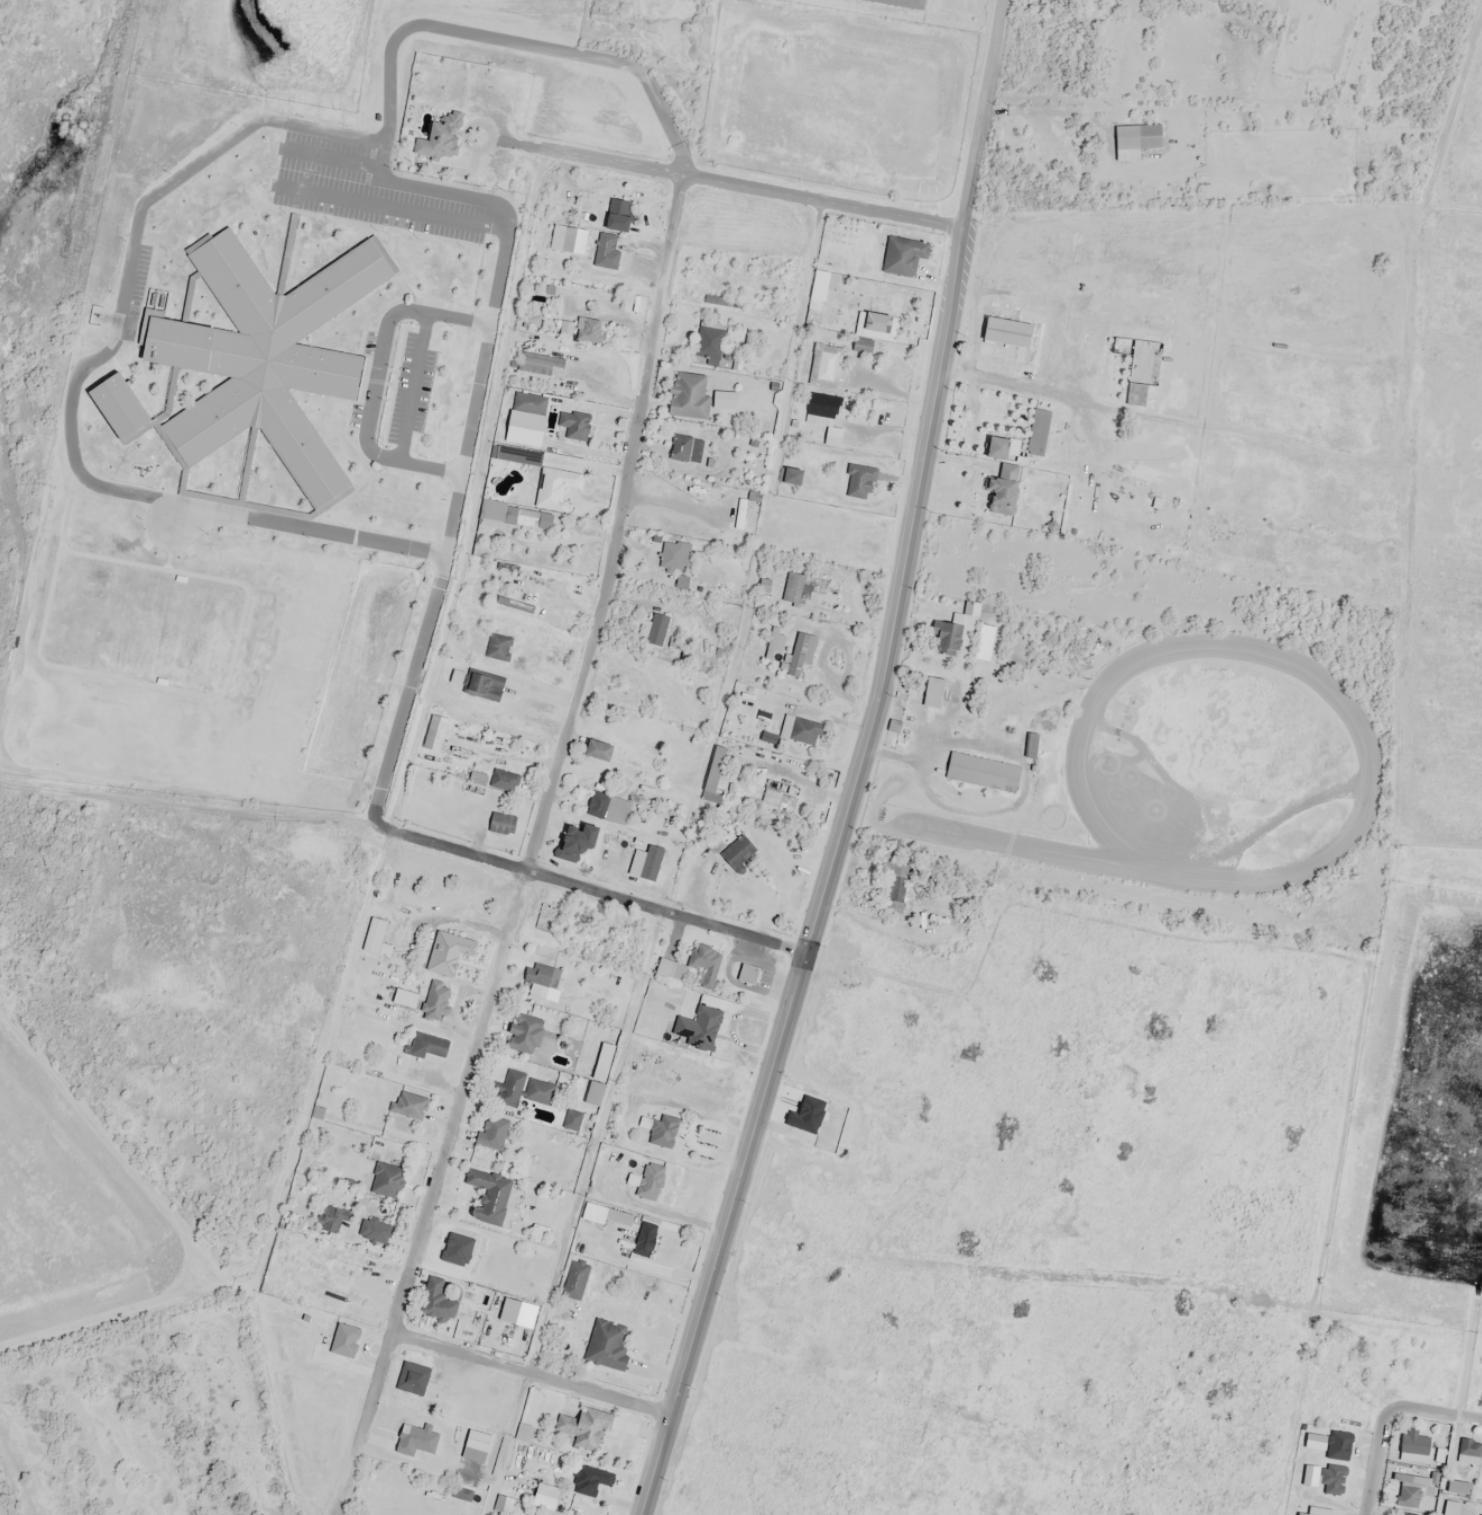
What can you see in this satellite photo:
building: (1119, 0)
building: (439, 138)
building: (1135, 139)
road: (740, 185)
building: (618, 215)
building: (606, 251)
building: (589, 329)
building: (873, 329)
building: (259, 354)
building: (538, 362)
building: (688, 395)
building: (107, 400)
building: (529, 402)
road: (69, 408)
building: (823, 415)
building: (574, 423)
building: (1037, 431)
building: (680, 447)
building: (790, 476)
building: (859, 481)
building: (554, 487)
building: (1002, 490)
building: (740, 513)
building: (528, 518)
building: (866, 551)
building: (679, 581)
building: (794, 587)
building: (971, 608)
building: (653, 628)
building: (946, 636)
building: (774, 645)
building: (799, 654)
building: (597, 750)
road: (857, 766)
building: (982, 771)
building: (712, 775)
building: (503, 780)
building: (784, 802)
building: (608, 807)
building: (500, 823)
road: (534, 848)
building: (737, 852)
building: (645, 862)
road: (596, 888)
building: (893, 902)
building: (374, 935)
building: (448, 952)
building: (670, 969)
building: (746, 972)
building: (434, 1000)
building: (428, 1045)
building: (599, 1073)
building: (538, 1090)
building: (498, 1092)
building: (408, 1104)
building: (571, 1120)
building: (491, 1133)
building: (387, 1179)
building: (488, 1195)
building: (604, 1214)
building: (328, 1218)
building: (377, 1224)
building: (644, 1238)
building: (574, 1280)
building: (435, 1299)
building: (599, 1341)
road: (530, 1367)
road: (1434, 1409)
building: (583, 1427)
building: (477, 1440)
building: (1414, 1445)
building: (1469, 1450)
road: (1376, 1458)
building: (1458, 1486)
building: (1451, 1507)
building: (1313, 1512)
building: (1403, 1513)

